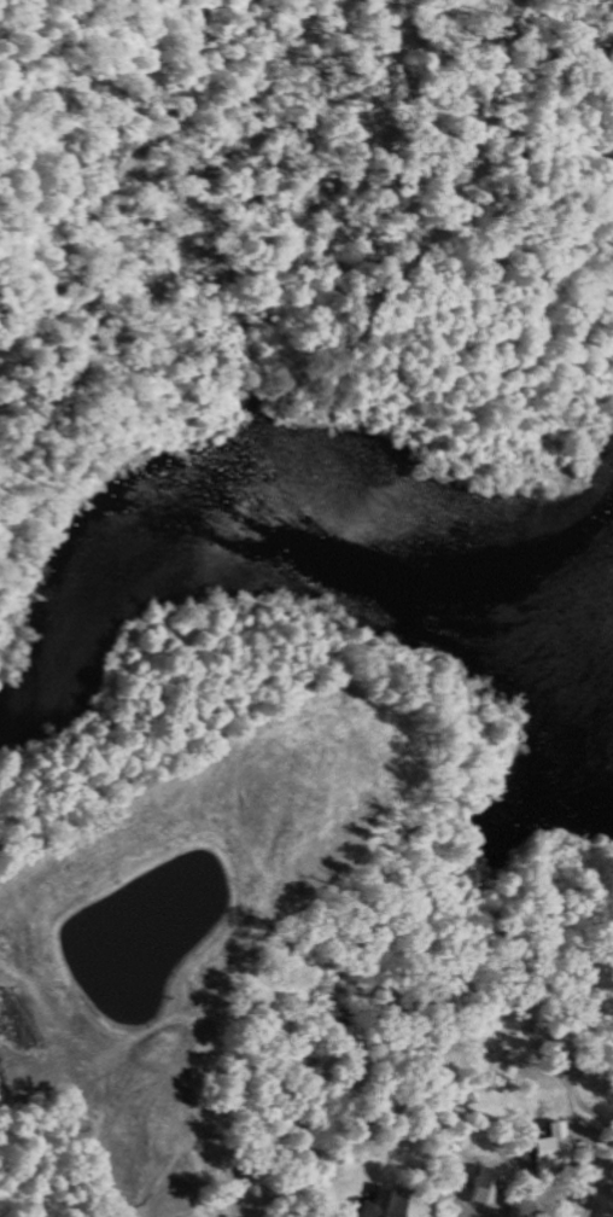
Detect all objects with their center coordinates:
building: (488, 1184)
building: (386, 1203)

